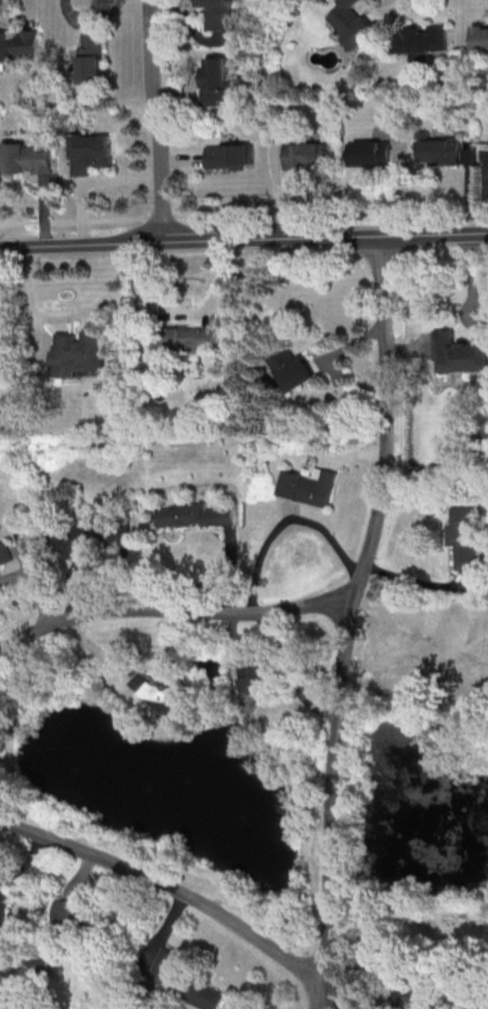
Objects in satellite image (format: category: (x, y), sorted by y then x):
road: (32, 11)
road: (93, 20)
building: (221, 20)
building: (357, 23)
road: (463, 26)
building: (482, 38)
building: (426, 39)
building: (20, 44)
building: (93, 62)
building: (219, 82)
road: (175, 88)
road: (156, 121)
building: (446, 151)
building: (94, 155)
building: (372, 155)
building: (233, 156)
building: (311, 156)
road: (182, 159)
building: (30, 160)
road: (91, 179)
road: (474, 186)
road: (283, 191)
road: (317, 210)
road: (480, 212)
road: (38, 215)
road: (80, 219)
road: (243, 240)
road: (182, 313)
road: (67, 317)
building: (184, 337)
building: (78, 351)
building: (458, 352)
building: (1, 360)
building: (292, 369)
building: (308, 485)
building: (194, 514)
road: (282, 522)
building: (87, 534)
building: (464, 535)
building: (4, 553)
road: (14, 571)
road: (32, 577)
road: (173, 611)
road: (350, 622)
building: (256, 673)
road: (288, 675)
building: (156, 693)
road: (172, 893)
building: (3, 911)
building: (71, 915)
building: (168, 968)
building: (207, 997)
road: (334, 1008)

